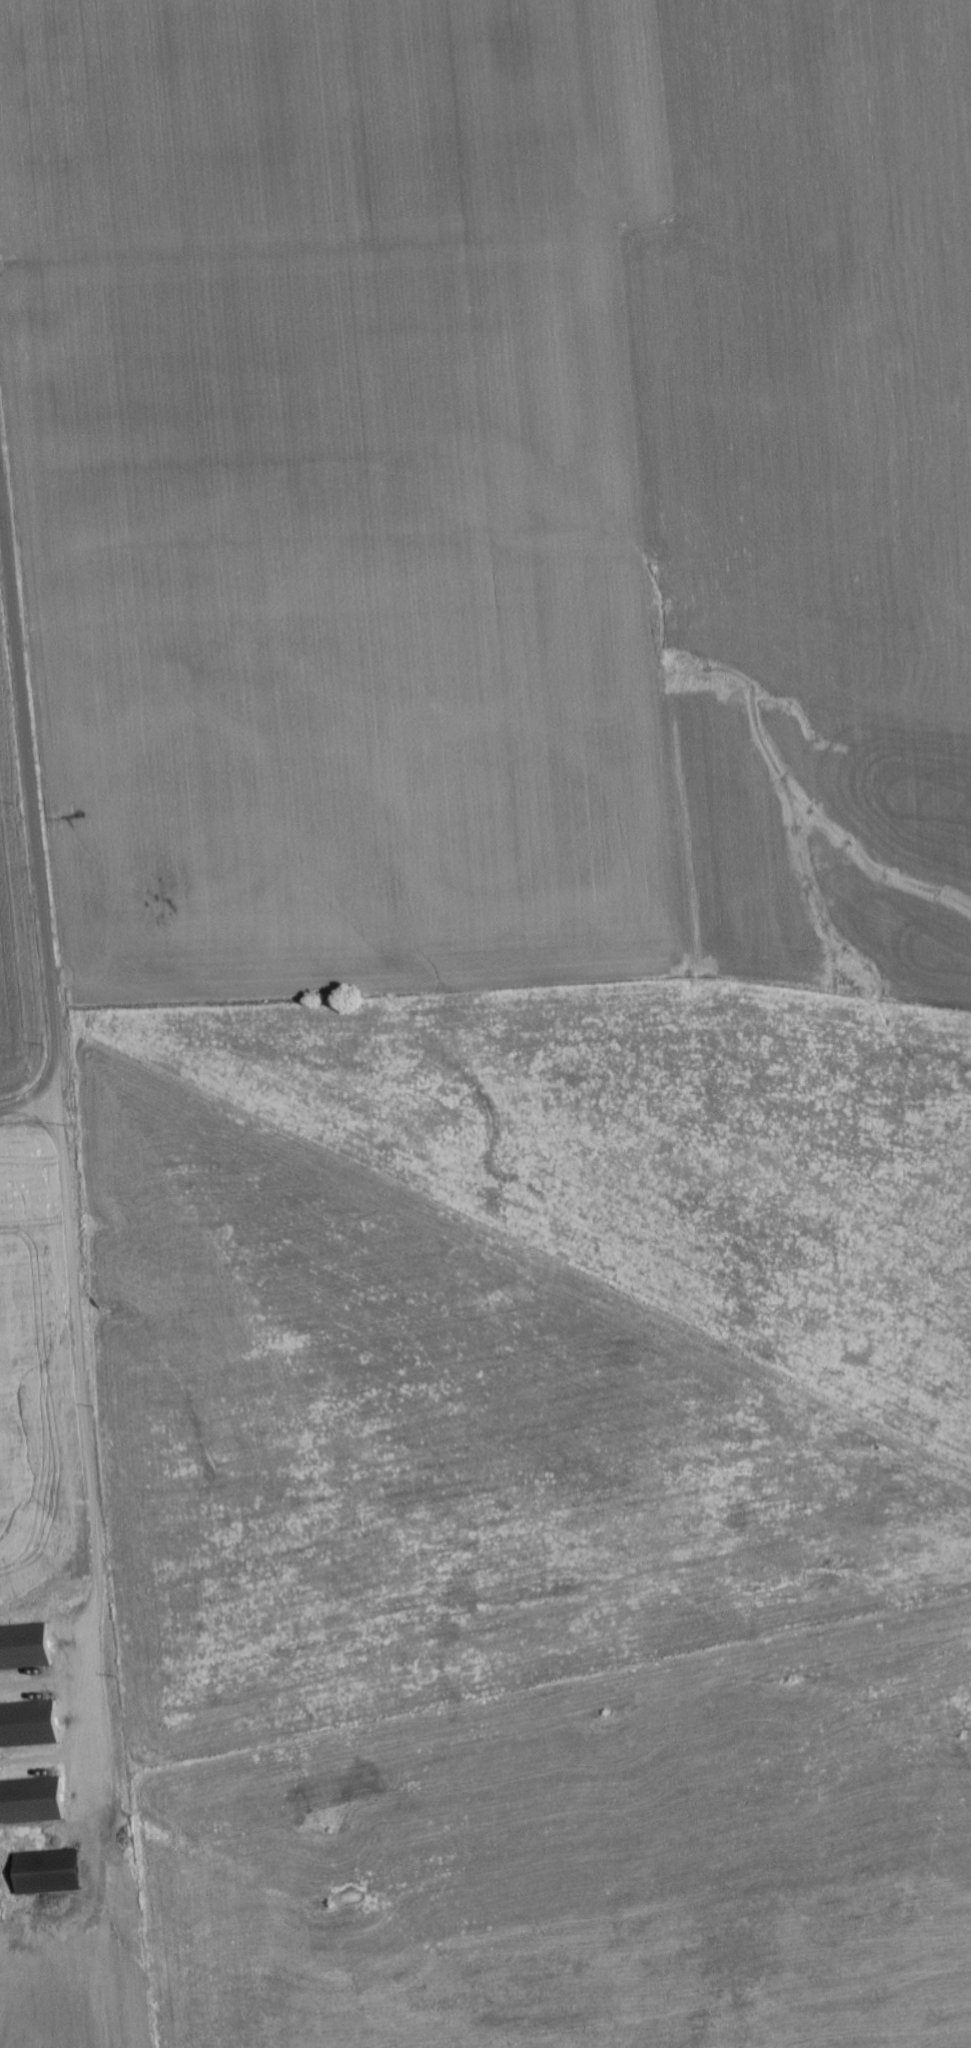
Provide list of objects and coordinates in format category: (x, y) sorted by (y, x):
road: (33, 820)
road: (95, 1439)
building: (26, 1648)
building: (28, 1725)
building: (33, 1803)
building: (49, 1873)

